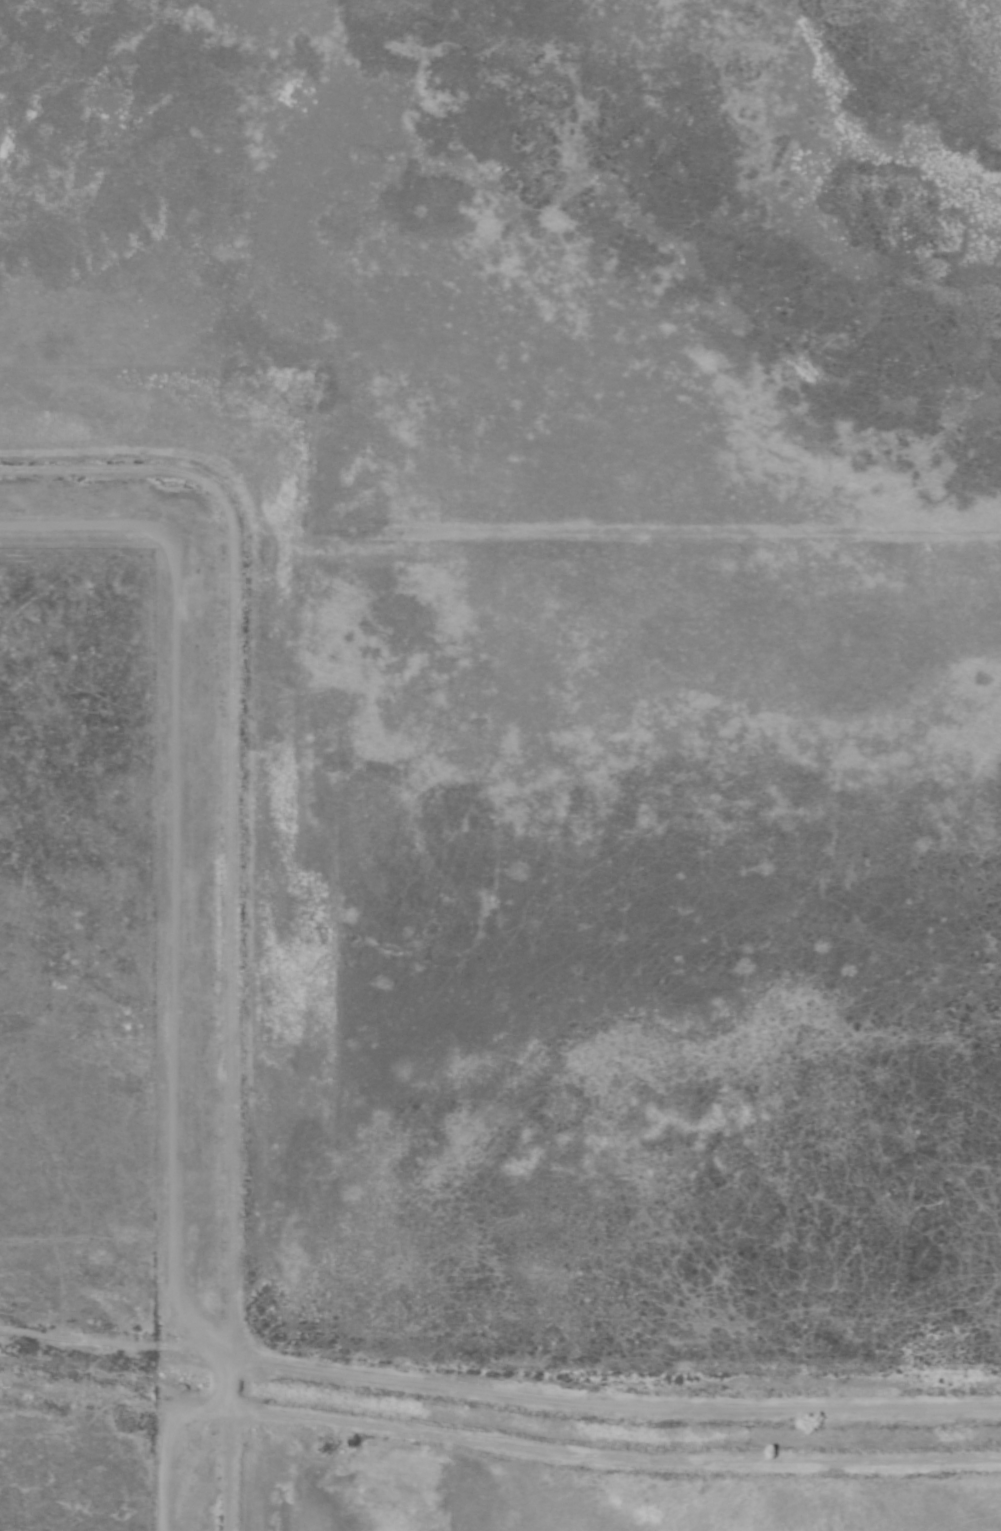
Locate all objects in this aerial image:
crop: (553, 734)
road: (777, 1492)

